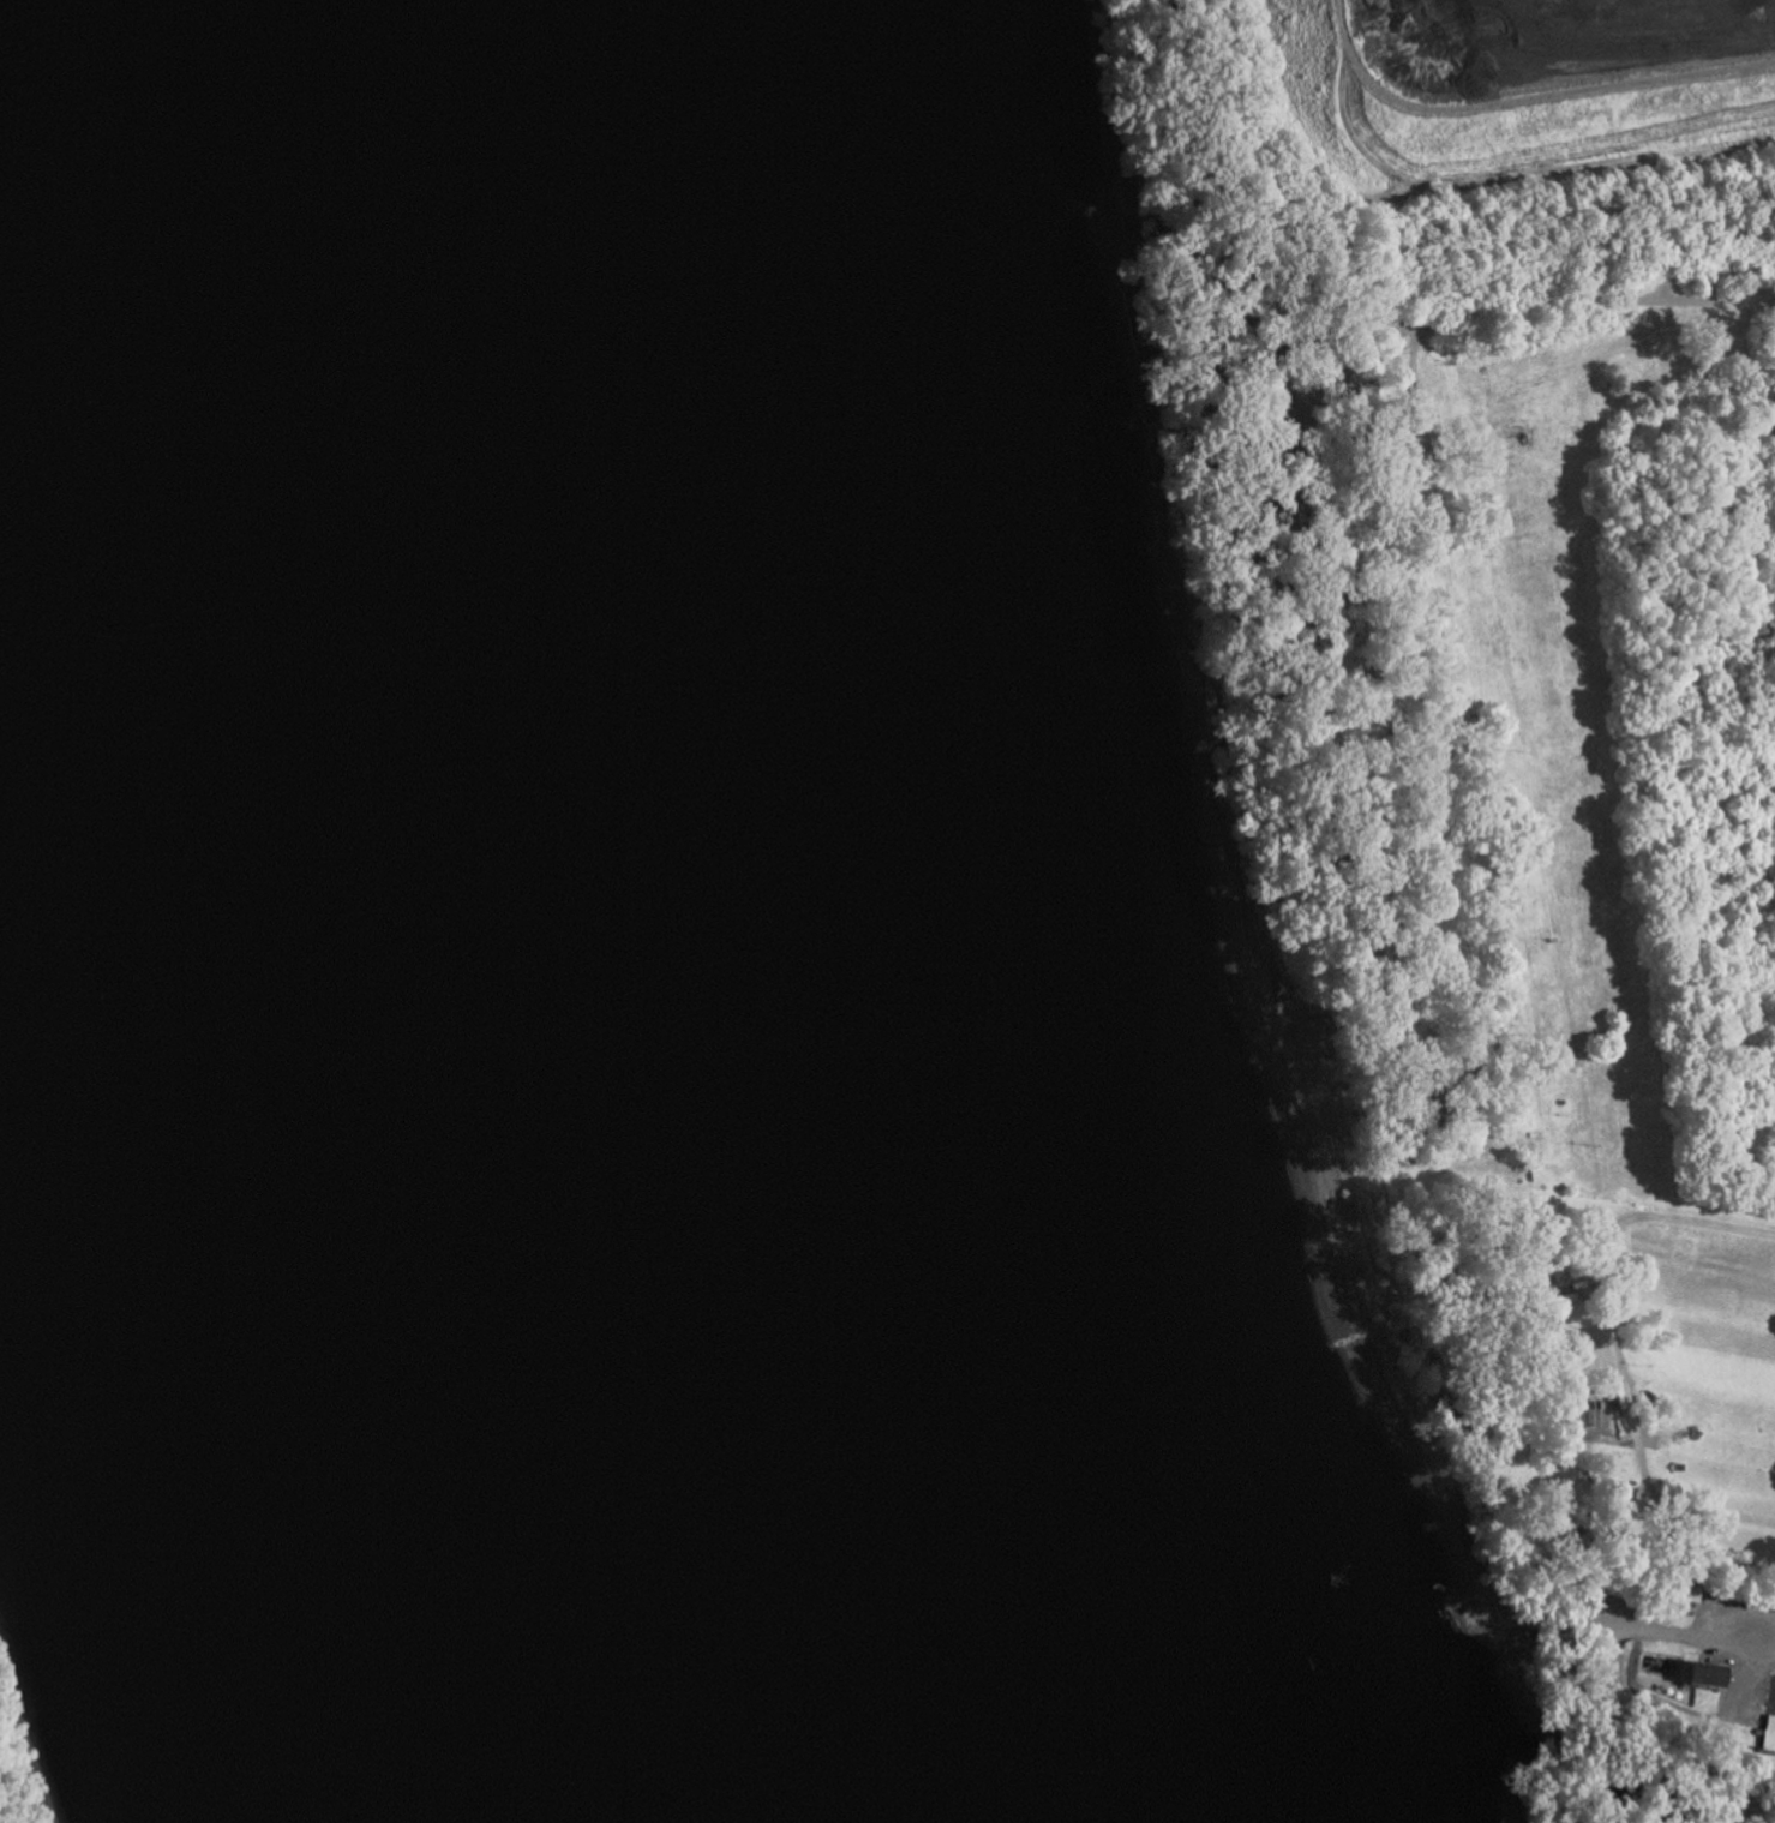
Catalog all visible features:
road: (1342, 20)
road: (1547, 91)
road: (1507, 178)
road: (1571, 308)
river: (478, 917)
road: (1597, 1271)
road: (1698, 1633)
building: (1691, 1675)
building: (1768, 1733)

